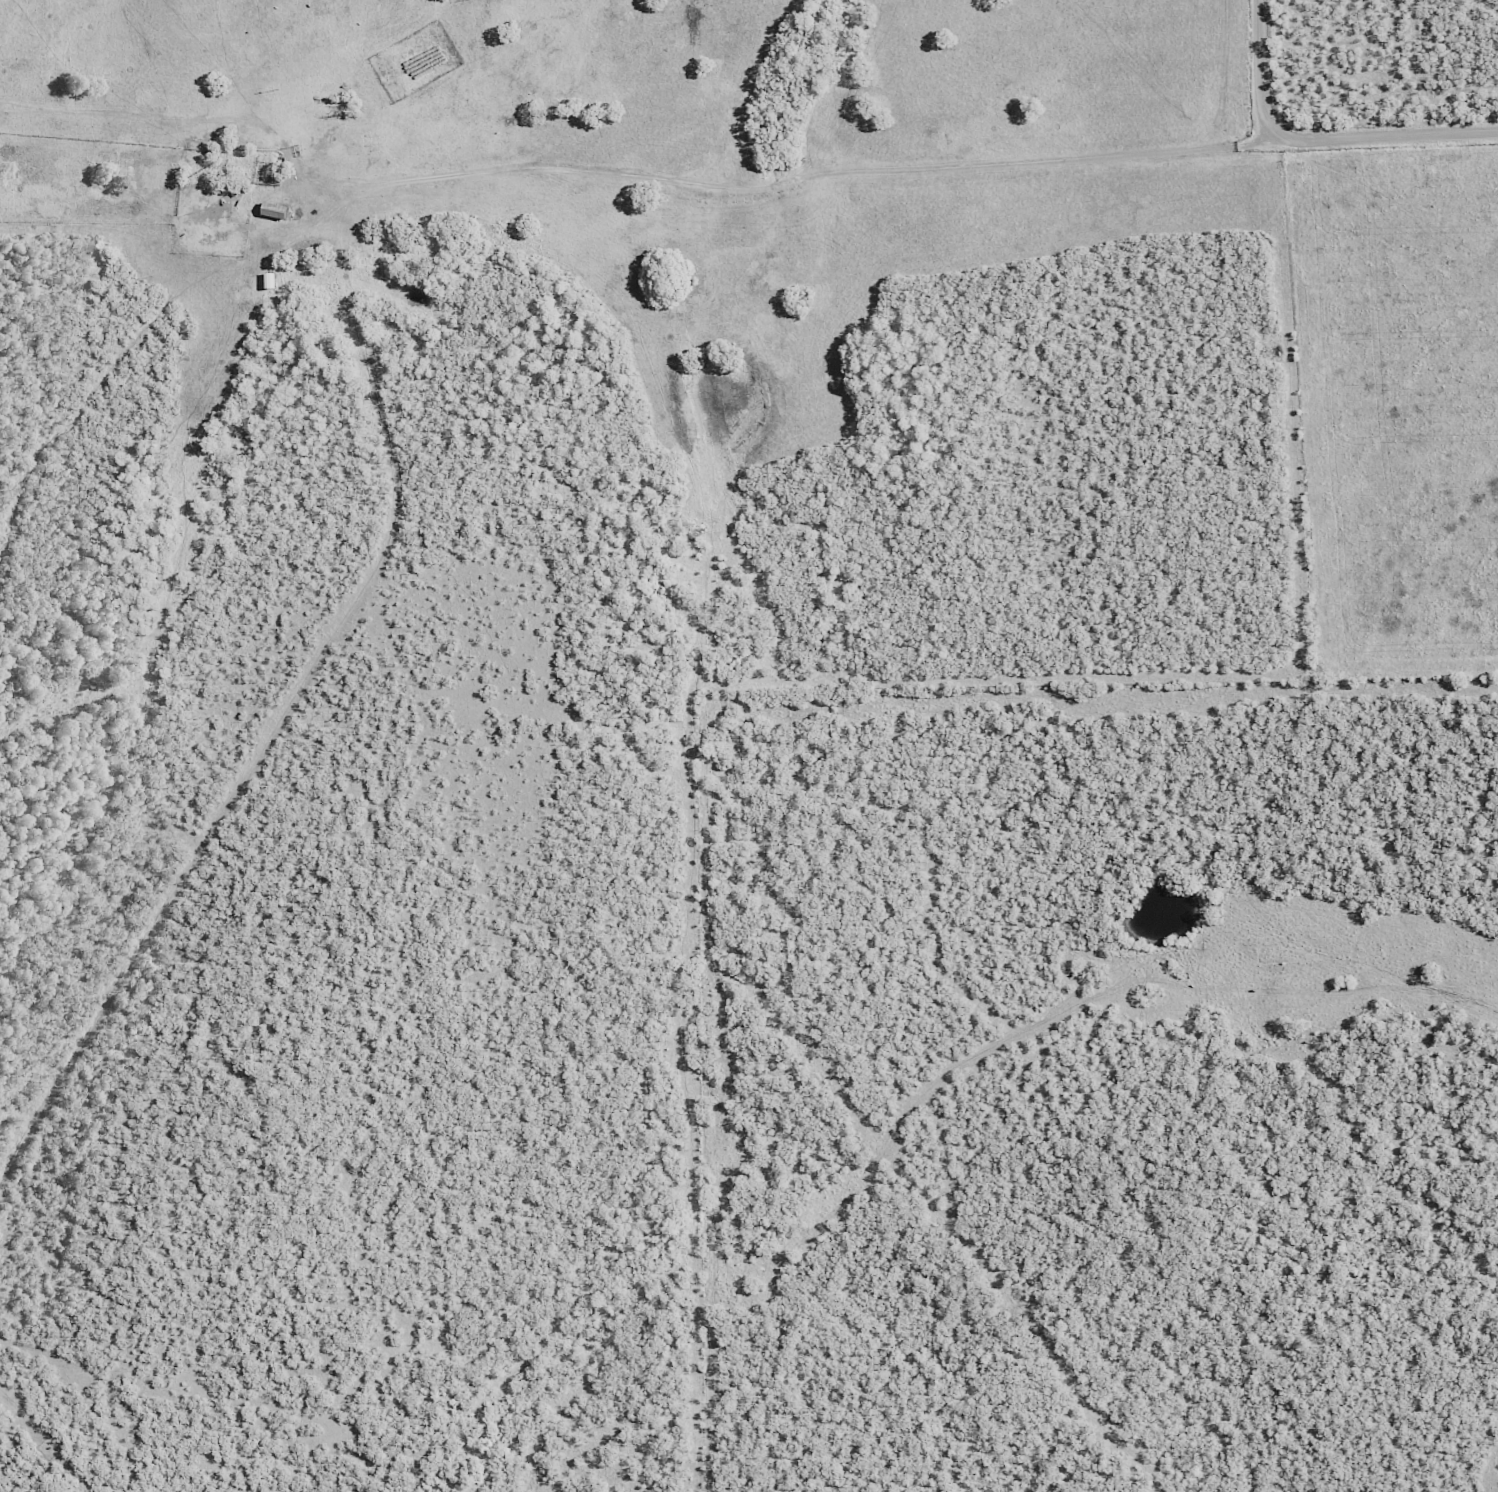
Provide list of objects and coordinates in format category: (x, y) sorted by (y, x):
road: (1321, 137)

